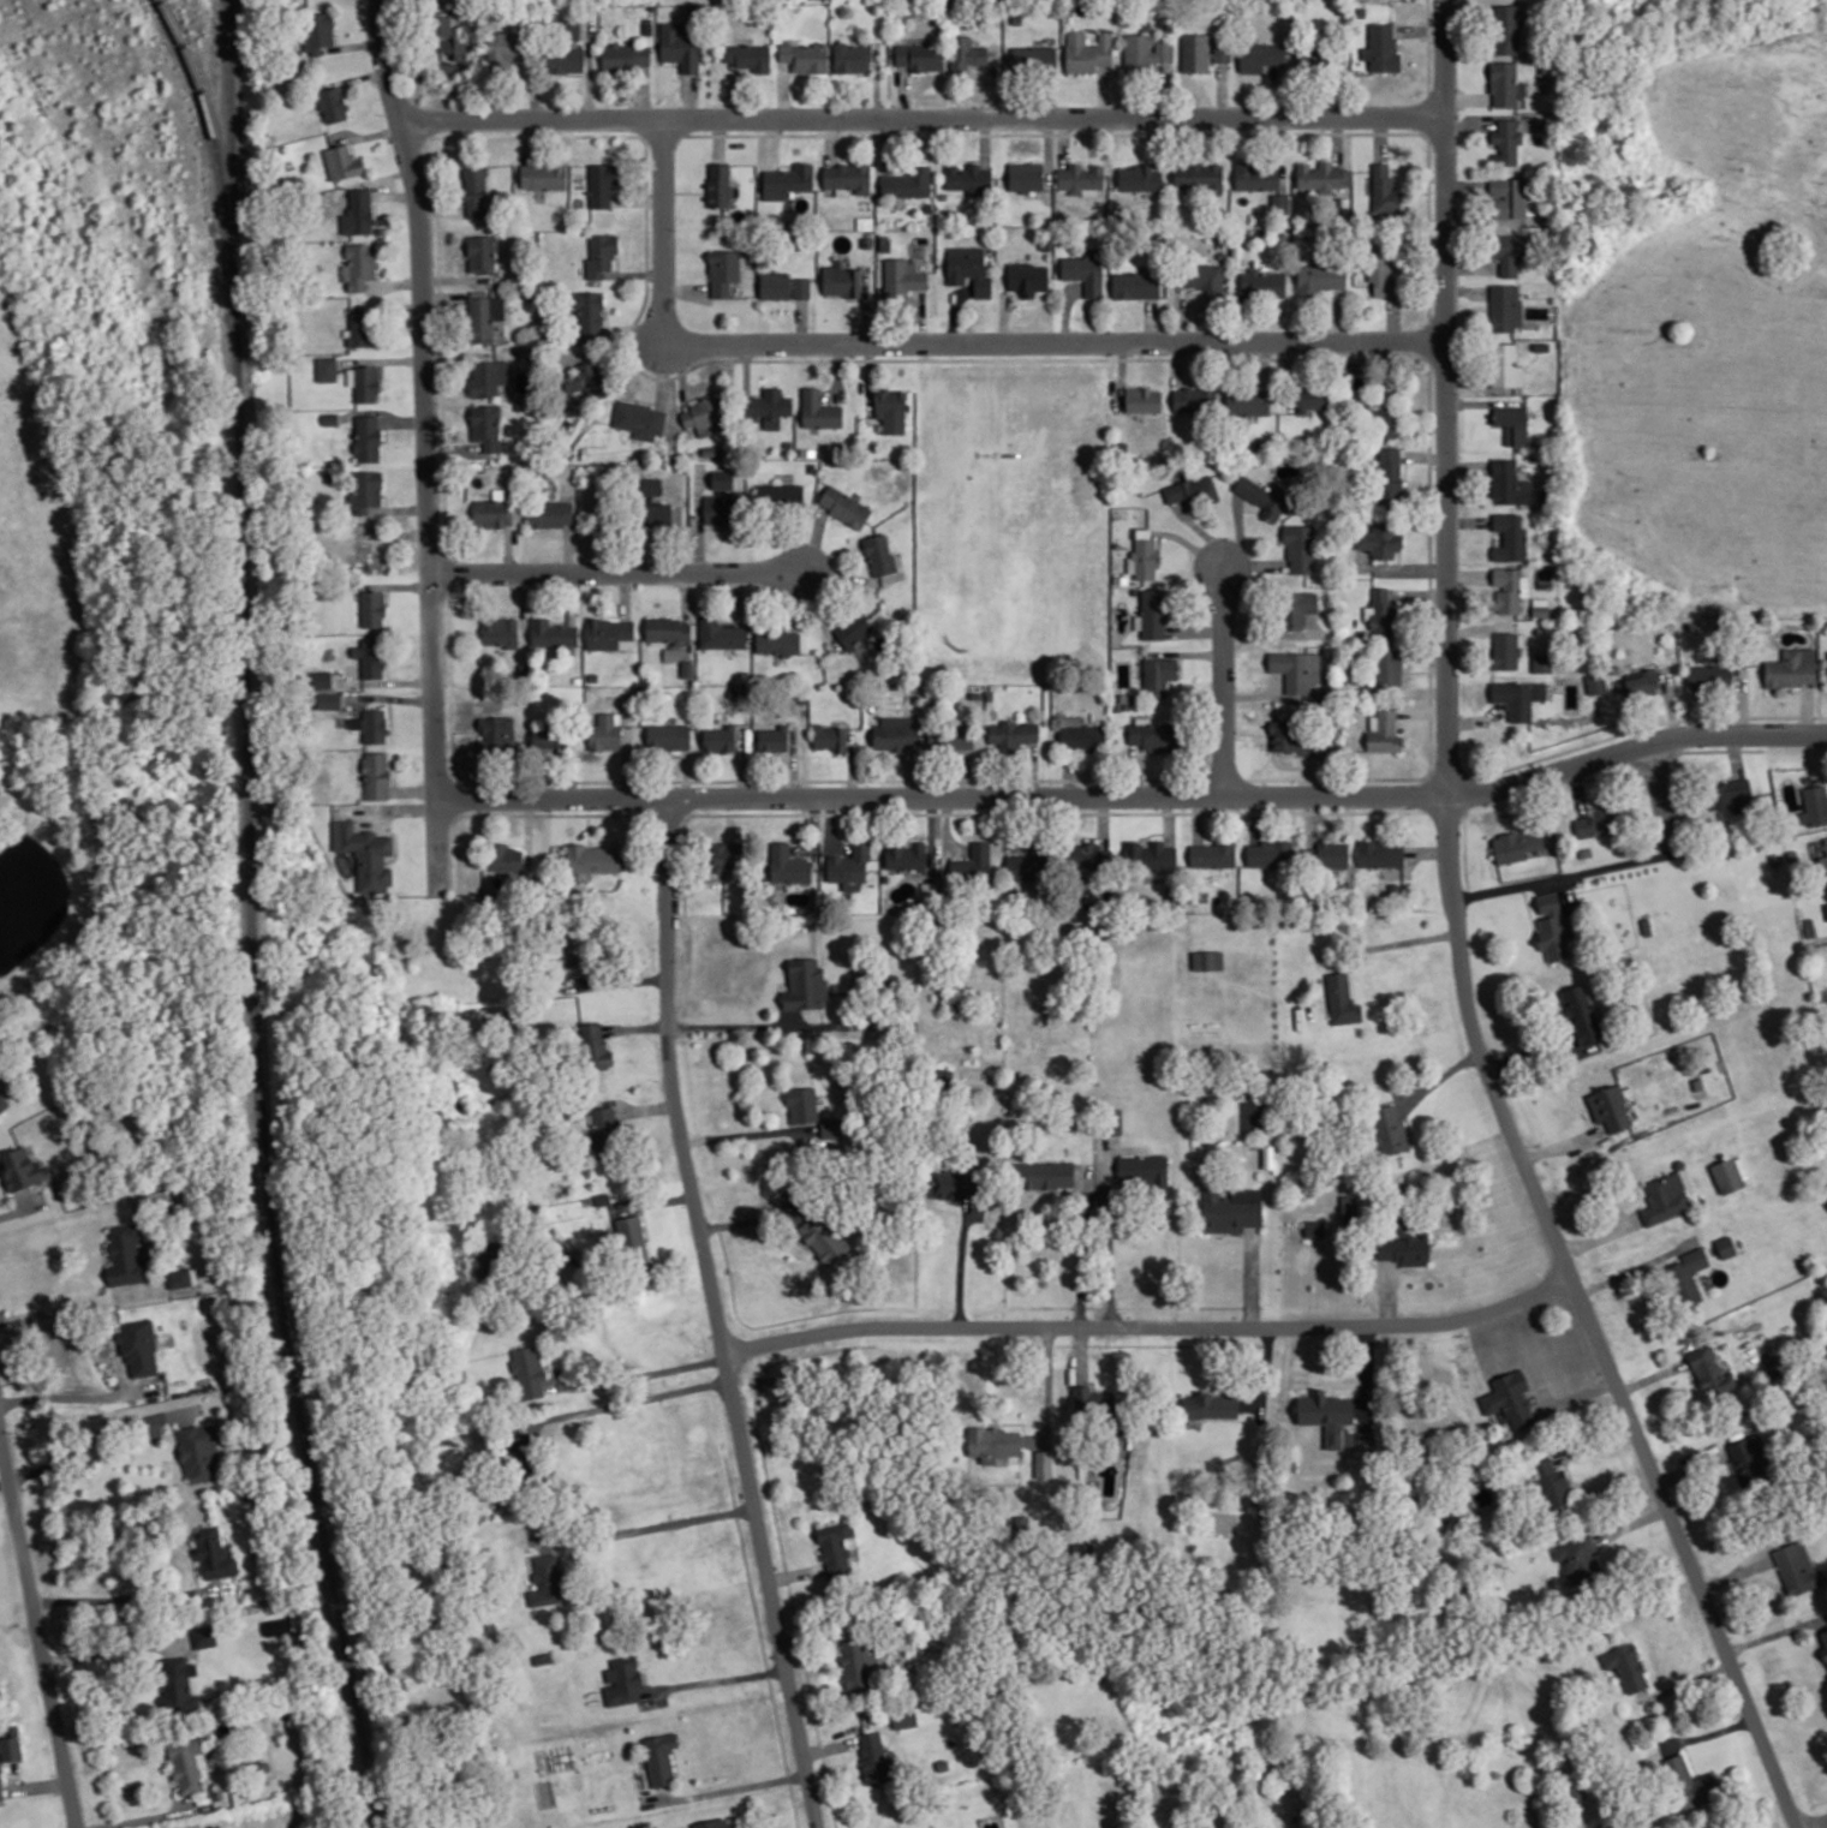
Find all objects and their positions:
building: (1506, 28)
building: (568, 29)
building: (318, 31)
building: (446, 43)
building: (680, 47)
building: (503, 48)
building: (1381, 48)
building: (967, 52)
building: (1087, 52)
building: (1145, 52)
building: (1195, 53)
building: (1222, 53)
building: (626, 56)
building: (750, 56)
building: (805, 56)
building: (920, 56)
building: (1261, 56)
building: (852, 58)
building: (1034, 58)
building: (566, 60)
building: (1505, 84)
building: (332, 104)
road: (923, 118)
building: (1506, 141)
railway: (217, 151)
building: (342, 162)
building: (543, 175)
building: (1026, 175)
building: (1198, 175)
building: (1256, 175)
building: (848, 177)
building: (968, 178)
building: (1140, 178)
building: (1324, 178)
building: (1080, 179)
building: (787, 180)
building: (907, 183)
building: (602, 184)
building: (720, 184)
building: (1385, 189)
building: (474, 191)
building: (1507, 197)
building: (1280, 203)
building: (358, 211)
building: (1510, 251)
building: (482, 253)
building: (601, 255)
building: (359, 265)
building: (968, 268)
building: (1086, 270)
building: (723, 271)
building: (1381, 273)
building: (902, 277)
building: (1027, 277)
building: (1320, 277)
building: (1204, 279)
building: (842, 281)
building: (1264, 283)
building: (1135, 285)
building: (783, 286)
building: (1505, 307)
building: (589, 315)
building: (484, 317)
building: (360, 328)
road: (947, 344)
building: (1505, 365)
building: (327, 369)
building: (488, 377)
building: (587, 381)
building: (364, 382)
building: (1194, 399)
building: (1312, 399)
building: (1144, 400)
building: (1247, 401)
building: (769, 406)
building: (891, 410)
building: (1386, 410)
building: (819, 411)
building: (704, 416)
building: (330, 418)
building: (640, 419)
building: (1512, 424)
building: (486, 426)
building: (368, 437)
road: (426, 444)
building: (1390, 473)
building: (722, 479)
building: (1509, 483)
building: (651, 485)
building: (366, 491)
building: (1192, 492)
building: (780, 495)
building: (1264, 496)
park: (1008, 502)
building: (844, 506)
building: (718, 509)
building: (491, 513)
building: (550, 514)
building: (657, 514)
building: (1510, 537)
building: (1380, 538)
building: (1298, 546)
building: (879, 554)
building: (1144, 555)
road: (617, 573)
building: (1509, 589)
building: (372, 608)
building: (1540, 608)
building: (1296, 609)
building: (1381, 613)
building: (1152, 614)
building: (668, 628)
building: (854, 631)
building: (500, 632)
building: (553, 633)
building: (610, 634)
building: (721, 634)
building: (778, 641)
building: (1506, 649)
building: (670, 653)
building: (370, 657)
building: (1542, 662)
building: (1387, 667)
building: (1792, 668)
building: (1296, 669)
building: (1158, 675)
building: (1710, 675)
building: (322, 679)
road: (1226, 680)
building: (1595, 682)
building: (1641, 683)
building: (1518, 697)
building: (328, 700)
building: (371, 724)
building: (500, 730)
building: (1384, 730)
building: (605, 733)
building: (897, 733)
building: (1013, 734)
building: (668, 736)
building: (1082, 736)
building: (549, 737)
building: (830, 737)
building: (957, 737)
building: (1296, 737)
building: (720, 739)
building: (772, 739)
building: (376, 776)
building: (1729, 795)
road: (1138, 799)
building: (1814, 805)
building: (1596, 822)
building: (1516, 844)
building: (1270, 853)
building: (1212, 854)
building: (1380, 854)
building: (365, 855)
building: (727, 855)
building: (907, 855)
building: (1150, 855)
building: (1309, 855)
building: (1332, 855)
building: (1087, 856)
building: (506, 858)
building: (593, 859)
building: (1823, 861)
building: (973, 864)
building: (789, 865)
road: (1613, 865)
building: (849, 867)
building: (1025, 867)
building: (1826, 907)
railway: (256, 919)
building: (1553, 927)
road: (1401, 940)
building: (571, 944)
road: (1461, 945)
building: (1207, 960)
building: (806, 984)
building: (1342, 999)
building: (1581, 1015)
road: (734, 1029)
building: (595, 1046)
building: (943, 1079)
building: (4, 1103)
building: (1610, 1107)
building: (812, 1111)
building: (1254, 1115)
building: (1115, 1121)
building: (603, 1125)
building: (1387, 1129)
road: (739, 1133)
building: (22, 1166)
building: (1144, 1170)
building: (1730, 1173)
building: (1043, 1175)
building: (954, 1184)
building: (1667, 1196)
building: (1349, 1205)
road: (20, 1208)
building: (1231, 1209)
building: (1316, 1229)
building: (634, 1235)
building: (823, 1239)
building: (1725, 1245)
building: (1403, 1248)
building: (126, 1254)
road: (1077, 1254)
road: (1106, 1255)
road: (1632, 1266)
road: (961, 1267)
building: (180, 1276)
building: (1685, 1276)
road: (79, 1302)
road: (718, 1315)
road: (1153, 1327)
building: (139, 1344)
road: (120, 1367)
building: (527, 1370)
building: (1709, 1370)
road: (644, 1372)
road: (79, 1394)
building: (1082, 1397)
building: (1509, 1398)
road: (625, 1399)
building: (1210, 1404)
building: (1327, 1415)
road: (101, 1434)
road: (177, 1436)
building: (1366, 1440)
building: (992, 1441)
building: (199, 1448)
building: (1747, 1453)
road: (2, 1457)
building: (1044, 1463)
building: (1550, 1481)
road: (653, 1524)
building: (835, 1547)
building: (214, 1552)
building: (1576, 1554)
building: (1795, 1566)
building: (547, 1579)
road: (131, 1597)
building: (277, 1624)
road: (37, 1625)
building: (204, 1633)
building: (1823, 1642)
road: (115, 1648)
building: (543, 1656)
building: (858, 1661)
building: (1626, 1666)
road: (715, 1679)
building: (622, 1680)
building: (178, 1683)
building: (904, 1719)
building: (11, 1746)
building: (873, 1756)
building: (659, 1757)
building: (187, 1762)
road: (16, 1774)
building: (1689, 1782)
road: (36, 1784)
building: (1, 1785)
road: (730, 1786)
road: (6, 1797)
road: (150, 1816)
building: (711, 1823)
road: (1815, 1823)

